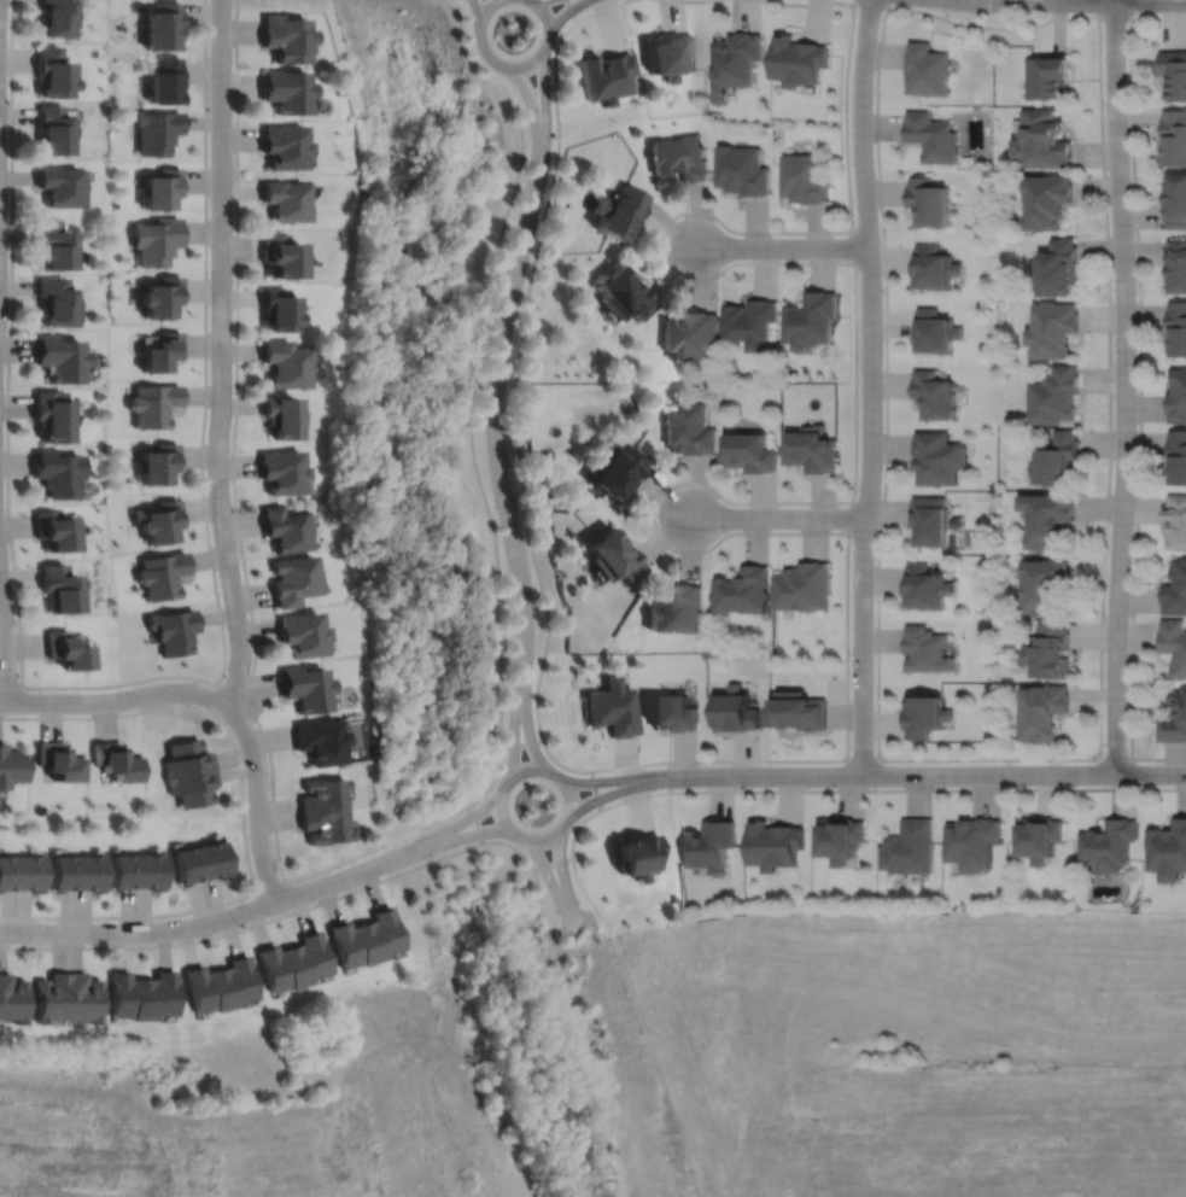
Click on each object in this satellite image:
road: (1077, 0)
road: (869, 1)
road: (571, 10)
road: (600, 10)
street lamp: (1139, 12)
road: (1097, 14)
road: (1112, 14)
road: (477, 16)
road: (565, 16)
building: (54, 17)
building: (164, 25)
street lamp: (561, 31)
building: (287, 37)
building: (670, 54)
building: (798, 59)
building: (735, 60)
road: (514, 66)
building: (928, 69)
building: (52, 72)
building: (1173, 72)
building: (607, 76)
building: (1047, 77)
building: (165, 81)
building: (287, 90)
road: (534, 90)
street lamp: (7, 99)
road: (545, 104)
street lamp: (1103, 104)
street lamp: (210, 107)
street lamp: (848, 110)
road: (532, 111)
building: (52, 129)
building: (158, 132)
building: (933, 136)
building: (1174, 138)
building: (1042, 140)
building: (286, 146)
street lamp: (553, 152)
building: (678, 157)
building: (742, 170)
building: (805, 177)
building: (60, 186)
building: (163, 189)
building: (1047, 200)
building: (286, 202)
building: (929, 203)
building: (1175, 203)
building: (618, 212)
street lamp: (676, 220)
street lamp: (854, 223)
street lamp: (234, 228)
street lamp: (1133, 230)
building: (157, 241)
road: (659, 246)
road: (781, 246)
building: (52, 247)
building: (281, 257)
street lamp: (532, 261)
building: (1176, 264)
building: (934, 268)
building: (1059, 268)
building: (621, 294)
building: (162, 298)
building: (54, 303)
building: (279, 311)
building: (811, 321)
building: (750, 323)
building: (1053, 329)
building: (1176, 329)
building: (935, 333)
building: (689, 335)
building: (163, 352)
road: (222, 355)
building: (60, 360)
street lamp: (1111, 361)
street lamp: (858, 362)
building: (286, 366)
street lamp: (512, 384)
road: (870, 386)
road: (1123, 386)
road: (1138, 386)
street lamp: (5, 387)
street lamp: (234, 392)
road: (477, 396)
building: (935, 396)
building: (1056, 396)
building: (1176, 396)
building: (154, 404)
road: (516, 408)
building: (52, 415)
building: (281, 419)
road: (498, 422)
building: (689, 431)
building: (812, 450)
building: (750, 454)
building: (1178, 457)
building: (939, 460)
building: (1059, 460)
building: (158, 462)
road: (854, 465)
building: (617, 467)
building: (282, 469)
building: (55, 471)
street lamp: (674, 487)
street lamp: (515, 490)
street lamp: (1133, 491)
street lamp: (855, 492)
street lamp: (233, 506)
road: (655, 514)
road: (777, 516)
building: (159, 520)
building: (930, 520)
building: (1050, 521)
building: (1176, 522)
building: (286, 527)
building: (53, 529)
road: (240, 544)
building: (612, 553)
building: (162, 573)
building: (294, 578)
building: (802, 584)
building: (58, 586)
building: (925, 586)
building: (1045, 586)
building: (742, 589)
building: (1175, 590)
building: (676, 608)
street lamp: (1104, 618)
building: (173, 630)
building: (303, 632)
road: (6, 641)
building: (1174, 646)
building: (65, 648)
building: (927, 648)
building: (1051, 650)
street lamp: (536, 656)
street lamp: (848, 659)
road: (122, 684)
street lamp: (209, 684)
road: (11, 687)
building: (306, 687)
street lamp: (30, 689)
road: (232, 695)
road: (112, 701)
building: (610, 706)
building: (734, 710)
building: (799, 710)
building: (1044, 710)
building: (671, 711)
building: (924, 713)
building: (1175, 718)
road: (527, 730)
road: (514, 736)
building: (320, 740)
road: (521, 742)
street lamp: (1126, 747)
building: (187, 758)
road: (1114, 759)
building: (58, 760)
building: (115, 760)
road: (858, 760)
street lamp: (882, 761)
street lamp: (556, 764)
building: (11, 766)
street lamp: (269, 775)
road: (927, 775)
road: (612, 779)
street lamp: (1074, 784)
street lamp: (743, 787)
building: (193, 788)
road: (595, 789)
road: (892, 789)
road: (617, 792)
building: (321, 794)
road: (258, 799)
road: (502, 816)
road: (244, 822)
road: (475, 823)
building: (323, 825)
road: (446, 830)
building: (841, 837)
building: (1038, 837)
road: (451, 839)
building: (971, 842)
building: (709, 843)
building: (1108, 843)
building: (773, 845)
building: (911, 847)
street lamp: (386, 848)
building: (1168, 851)
building: (636, 853)
building: (212, 859)
road: (572, 860)
building: (187, 864)
road: (551, 864)
building: (123, 871)
building: (148, 871)
building: (7, 872)
building: (28, 872)
building: (62, 872)
building: (88, 872)
road: (534, 877)
road: (562, 878)
road: (550, 882)
road: (271, 888)
road: (199, 924)
street lamp: (241, 927)
road: (247, 927)
building: (380, 933)
street lamp: (103, 944)
building: (349, 944)
building: (309, 958)
building: (280, 968)
building: (236, 982)
building: (204, 989)
building: (125, 995)
building: (159, 995)
building: (49, 998)
building: (82, 998)
building: (11, 999)

